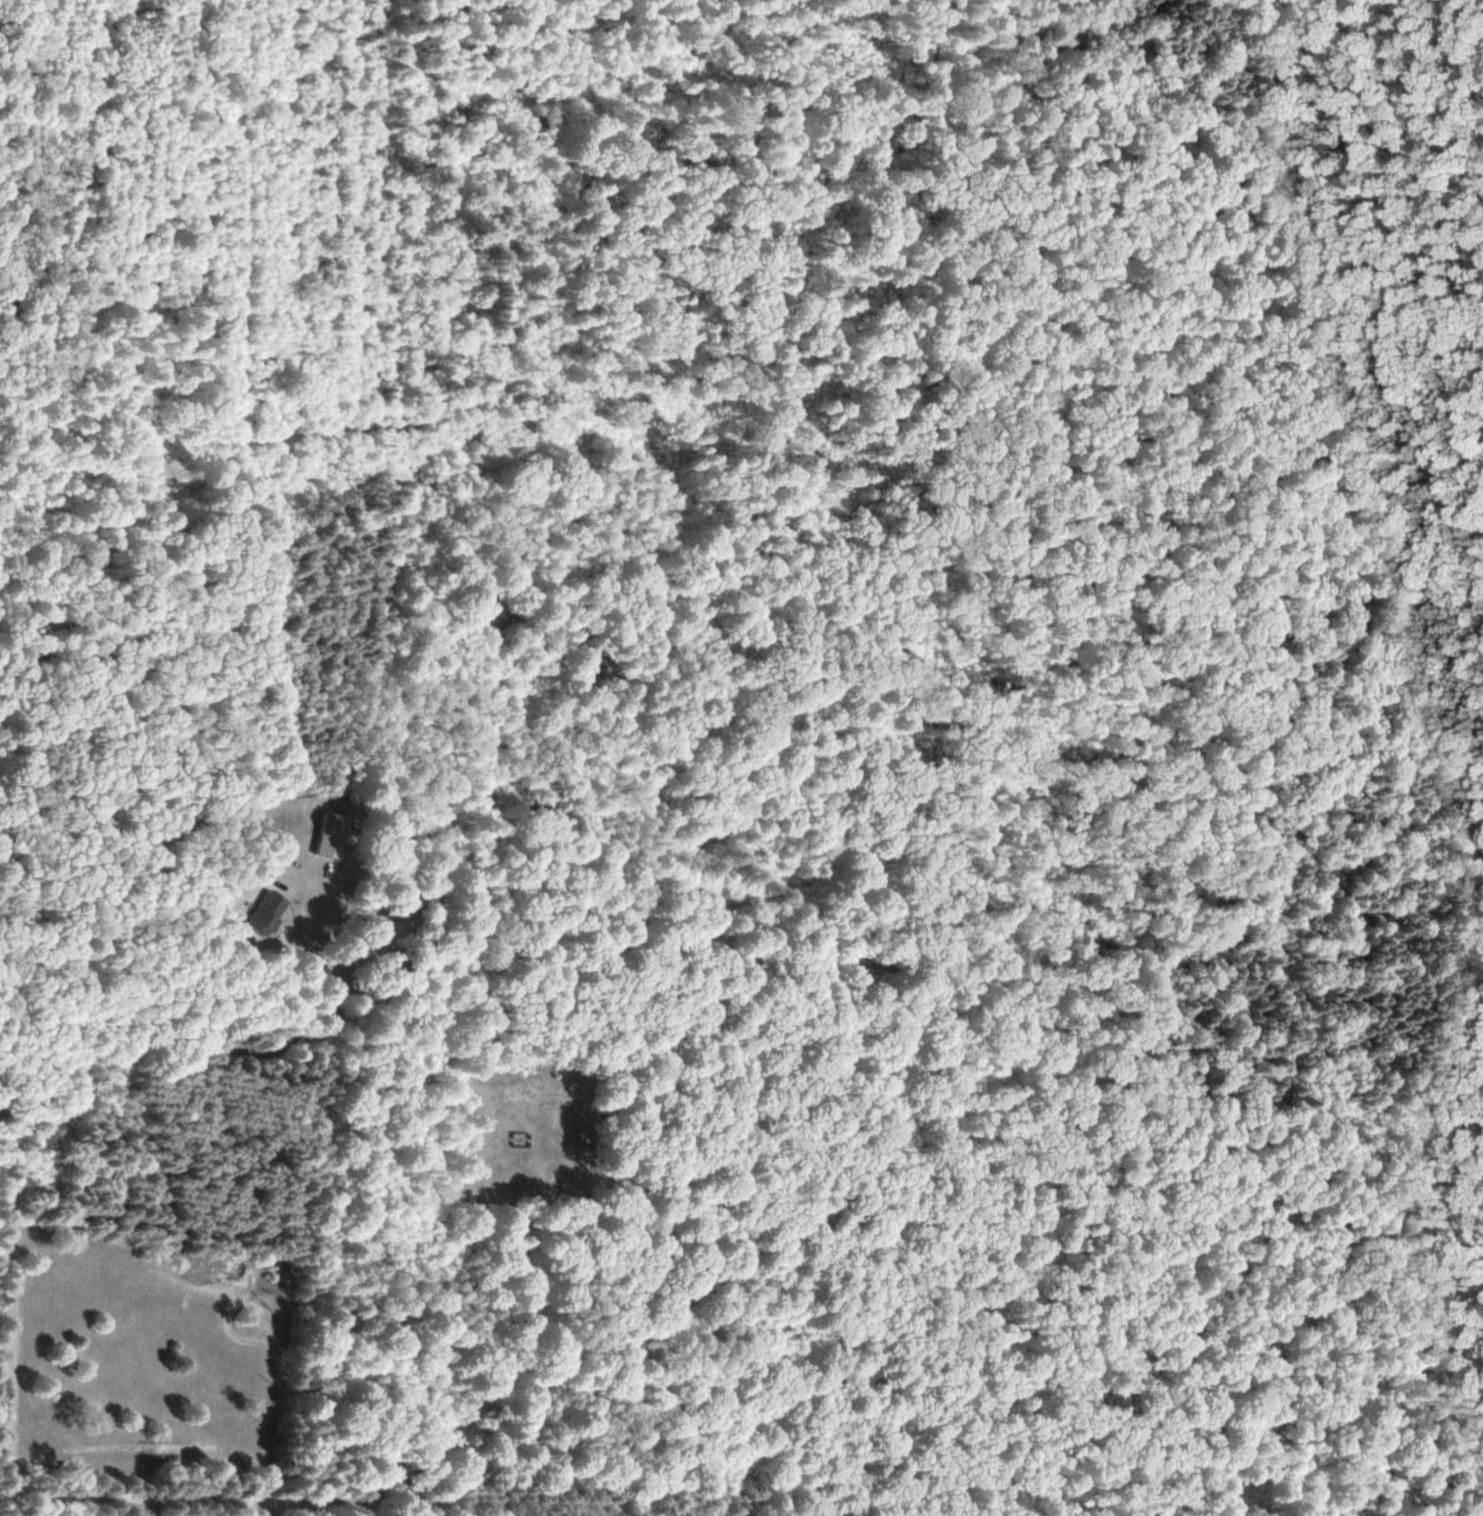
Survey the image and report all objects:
building: (267, 913)
road: (59, 1494)

